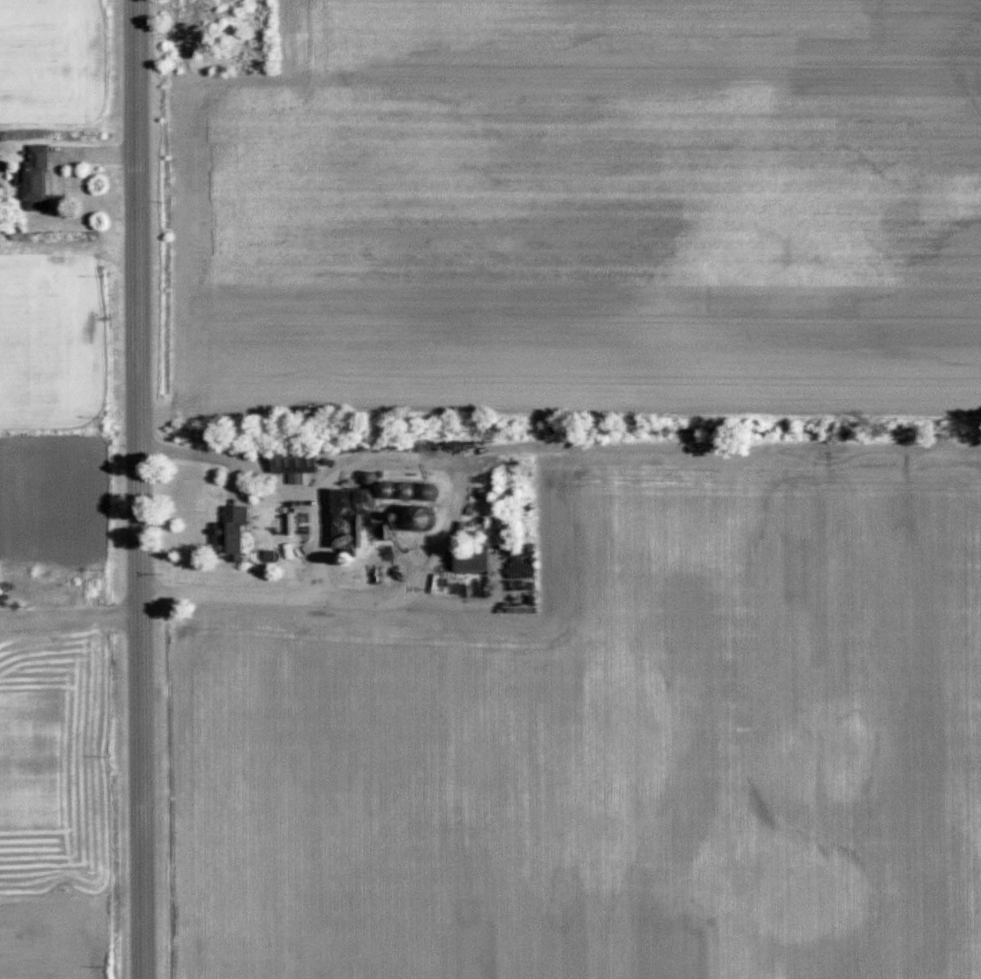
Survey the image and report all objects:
building: (40, 179)
road: (195, 454)
building: (298, 459)
road: (141, 489)
building: (411, 493)
building: (433, 493)
building: (350, 521)
building: (504, 532)
building: (234, 536)
building: (475, 562)
road: (271, 593)

